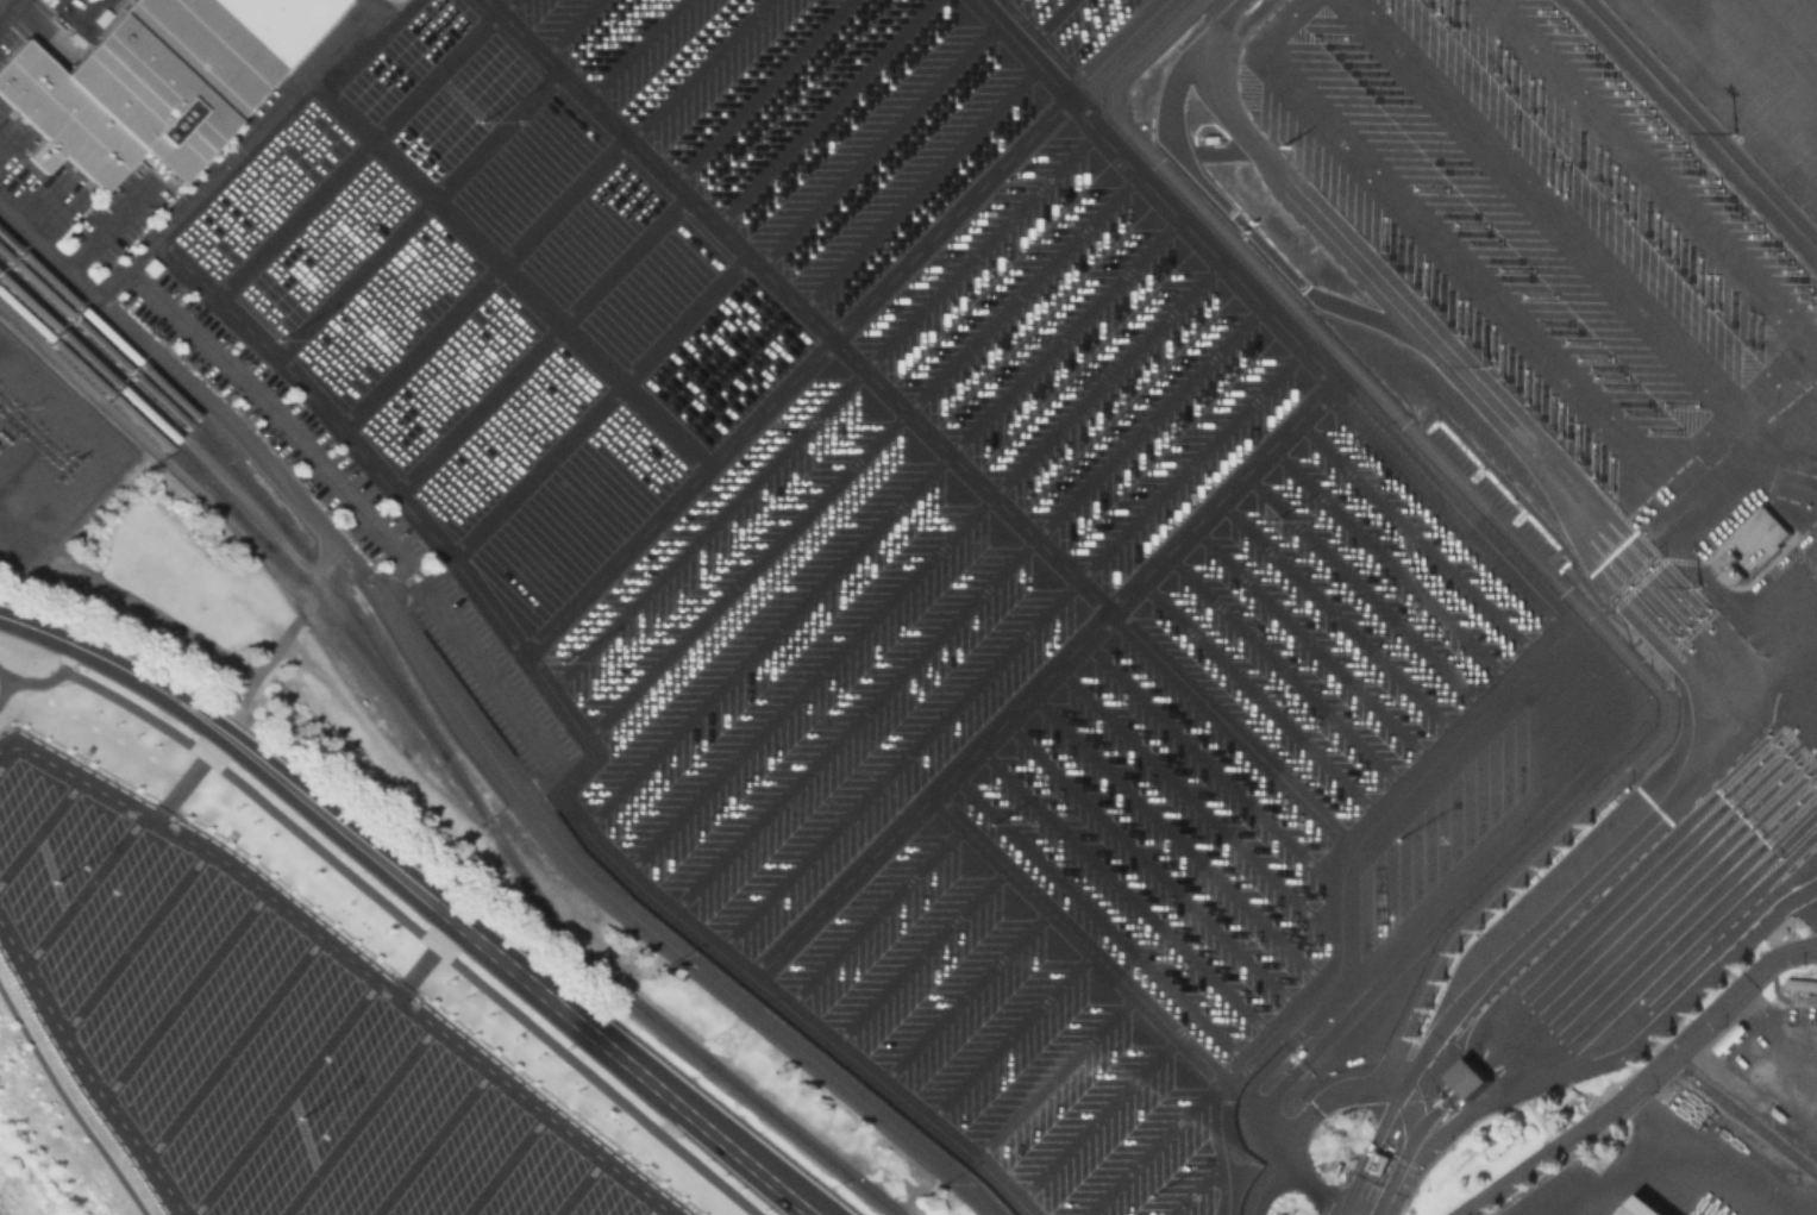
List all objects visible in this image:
road: (375, 1)
road: (506, 7)
road: (1052, 19)
road: (566, 25)
road: (1124, 44)
road: (631, 46)
road: (694, 67)
road: (759, 89)
building: (137, 90)
road: (825, 111)
road: (1698, 124)
road: (883, 137)
building: (1209, 137)
road: (234, 148)
road: (357, 157)
road: (925, 180)
road: (418, 211)
road: (957, 212)
road: (986, 242)
road: (506, 269)
road: (483, 278)
road: (1029, 286)
road: (543, 342)
road: (189, 382)
railway: (144, 388)
road: (599, 403)
railway: (137, 407)
road: (290, 430)
power substation: (44, 457)
road: (970, 470)
railway: (242, 477)
road: (885, 513)
railway: (232, 514)
road: (650, 519)
road: (707, 525)
road: (1417, 539)
building: (1754, 546)
road: (1619, 553)
road: (929, 559)
road: (1391, 565)
road: (746, 570)
road: (1537, 570)
road: (1365, 591)
road: (972, 600)
road: (1337, 618)
road: (37, 627)
road: (1016, 641)
road: (1312, 644)
road: (68, 656)
road: (1285, 670)
road: (490, 671)
road: (1048, 671)
road: (2, 679)
road: (2, 690)
road: (1258, 696)
road: (1465, 728)
road: (5, 752)
road: (1213, 764)
road: (188, 777)
road: (1289, 783)
road: (1203, 807)
road: (38, 828)
road: (1177, 834)
road: (1151, 863)
road: (81, 889)
road: (1124, 890)
road: (1804, 909)
road: (391, 912)
road: (876, 916)
road: (1099, 916)
road: (452, 919)
road: (647, 925)
road: (134, 941)
road: (721, 951)
road: (920, 956)
road: (349, 958)
road: (425, 958)
road: (1101, 963)
road: (1426, 975)
building: (1800, 987)
road: (183, 995)
road: (964, 996)
railway: (640, 1009)
road: (1660, 1022)
road: (1007, 1034)
building: (1734, 1034)
road: (233, 1046)
road: (1240, 1065)
road: (86, 1072)
road: (1053, 1076)
building: (1470, 1077)
road: (1640, 1078)
building: (1475, 1094)
road: (1403, 1096)
road: (286, 1097)
road: (67, 1104)
road: (357, 1120)
road: (1097, 1120)
railway: (1752, 1128)
road: (1406, 1133)
road: (1686, 1136)
road: (431, 1141)
road: (1155, 1150)
road: (1277, 1152)
building: (1383, 1161)
road: (506, 1164)
road: (1291, 1170)
road: (578, 1186)
road: (1197, 1189)
road: (653, 1209)
building: (1633, 1210)

